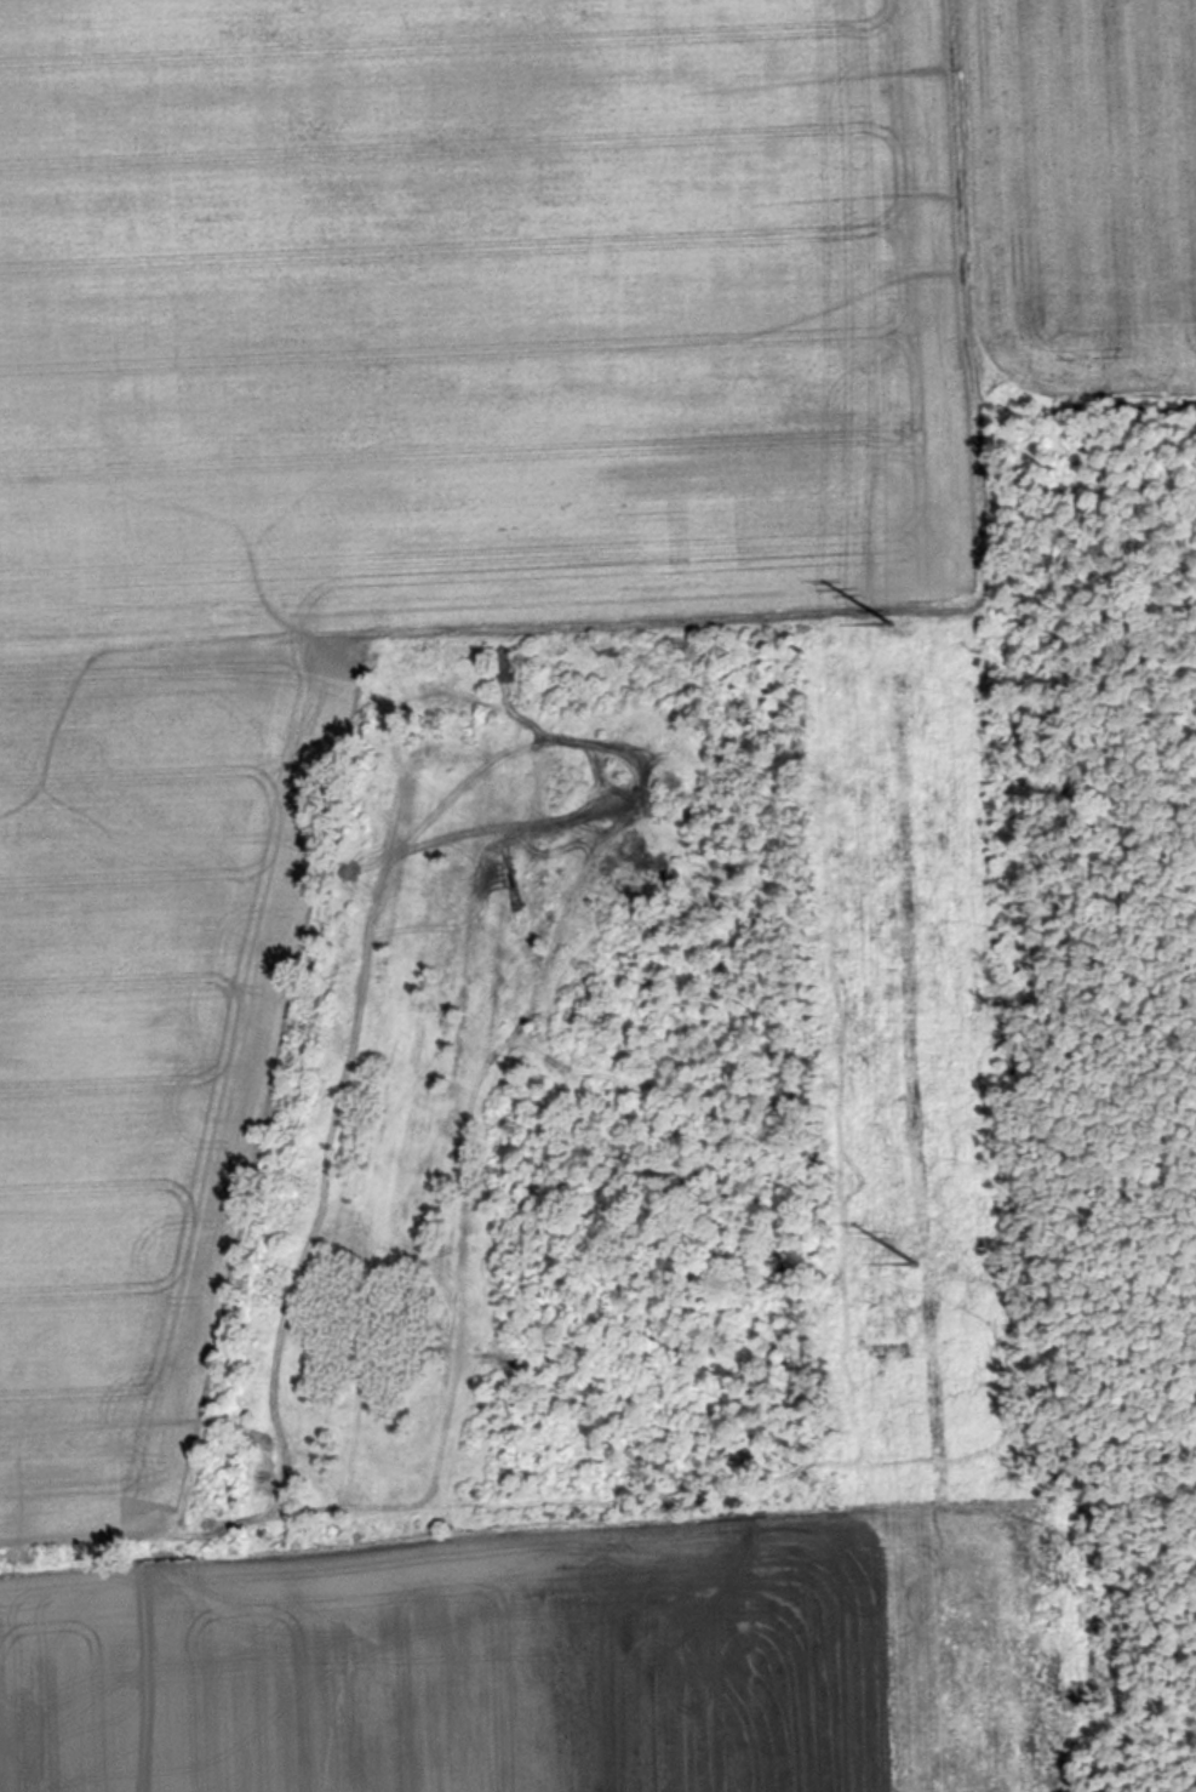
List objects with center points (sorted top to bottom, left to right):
power tower: (885, 616)
power tower: (914, 1261)

